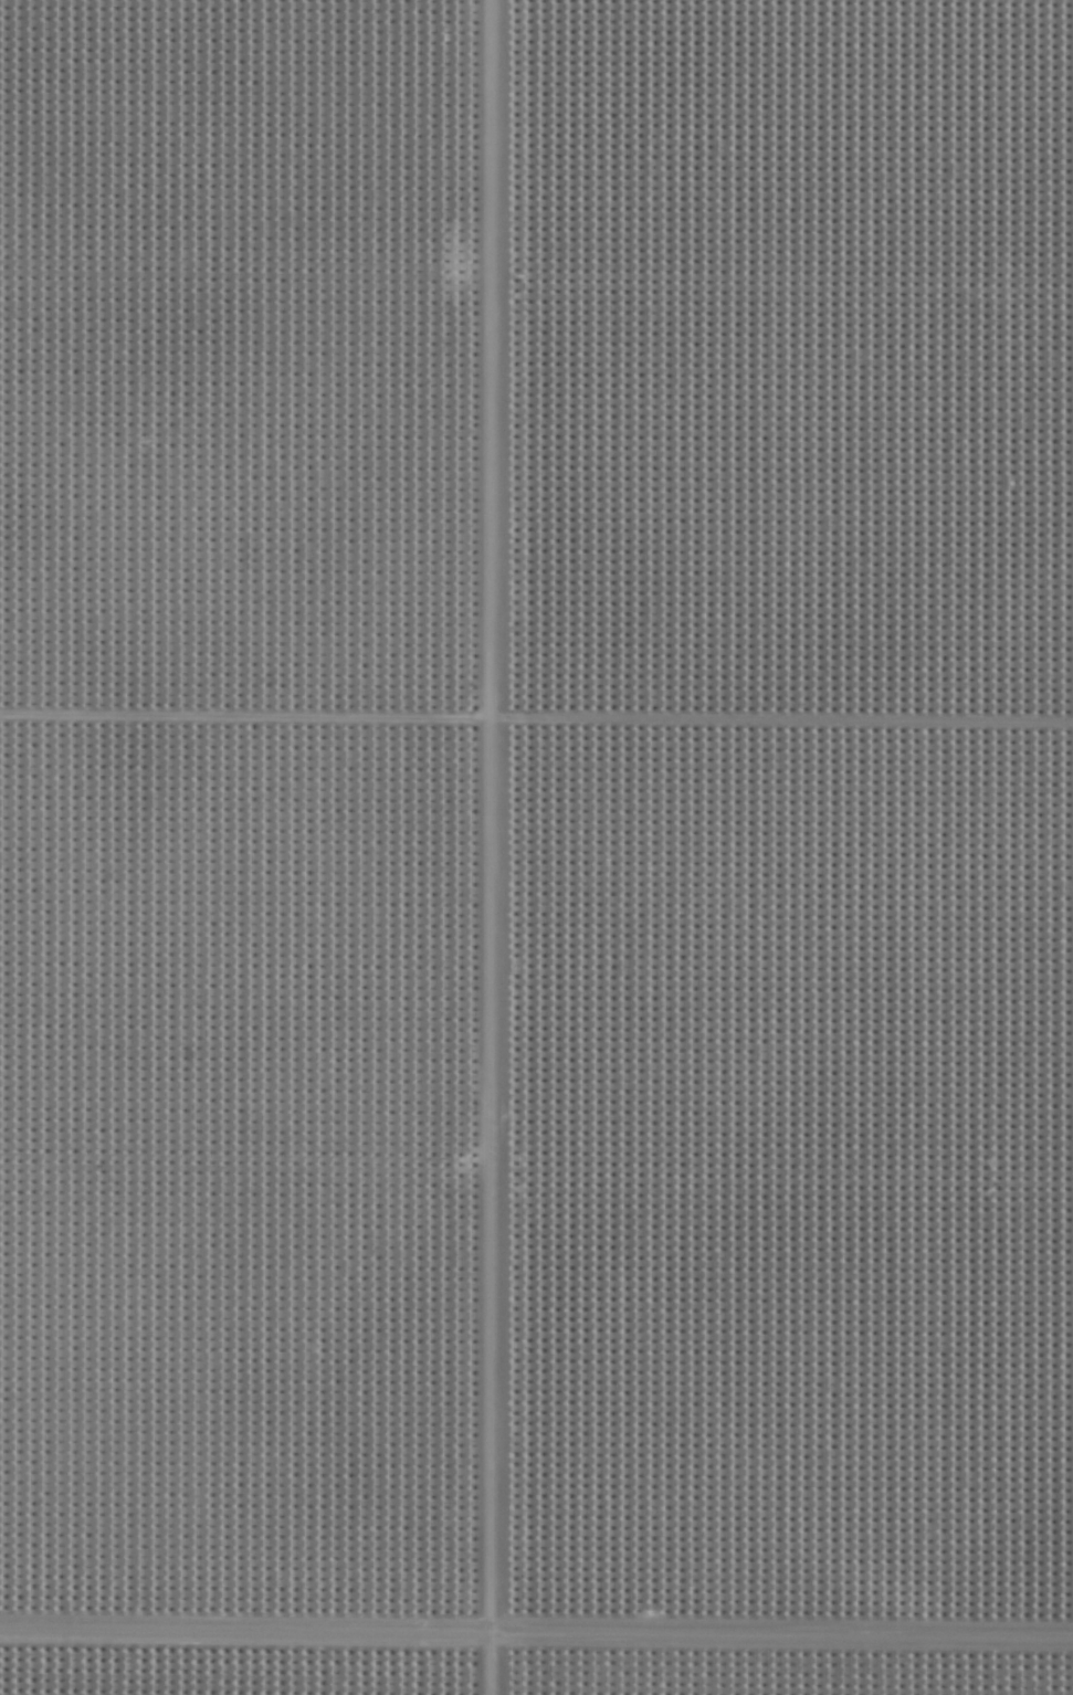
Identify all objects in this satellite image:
road: (498, 847)
crop: (536, 847)

